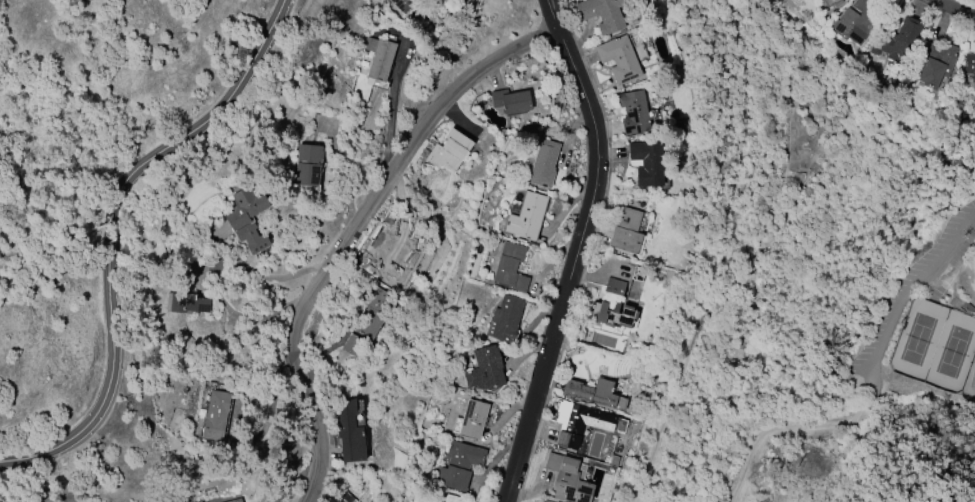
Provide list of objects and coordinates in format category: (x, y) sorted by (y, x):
building: (831, 2)
building: (403, 4)
road: (954, 8)
building: (602, 13)
road: (551, 16)
building: (857, 21)
building: (897, 39)
road: (452, 51)
building: (380, 56)
building: (618, 59)
building: (936, 63)
building: (970, 65)
building: (511, 101)
road: (389, 112)
building: (634, 112)
building: (448, 151)
building: (647, 163)
building: (544, 164)
building: (308, 165)
building: (527, 216)
building: (247, 218)
building: (627, 230)
road: (354, 232)
road: (112, 235)
building: (510, 267)
road: (570, 267)
road: (269, 276)
road: (909, 282)
building: (615, 286)
building: (188, 303)
road: (267, 306)
building: (613, 314)
building: (505, 318)
building: (367, 324)
building: (485, 371)
building: (594, 393)
road: (667, 409)
building: (216, 415)
building: (473, 418)
building: (579, 422)
road: (794, 427)
building: (350, 433)
building: (460, 465)
road: (897, 472)
building: (567, 479)
building: (346, 497)
building: (453, 498)
building: (426, 500)
building: (237, 501)

